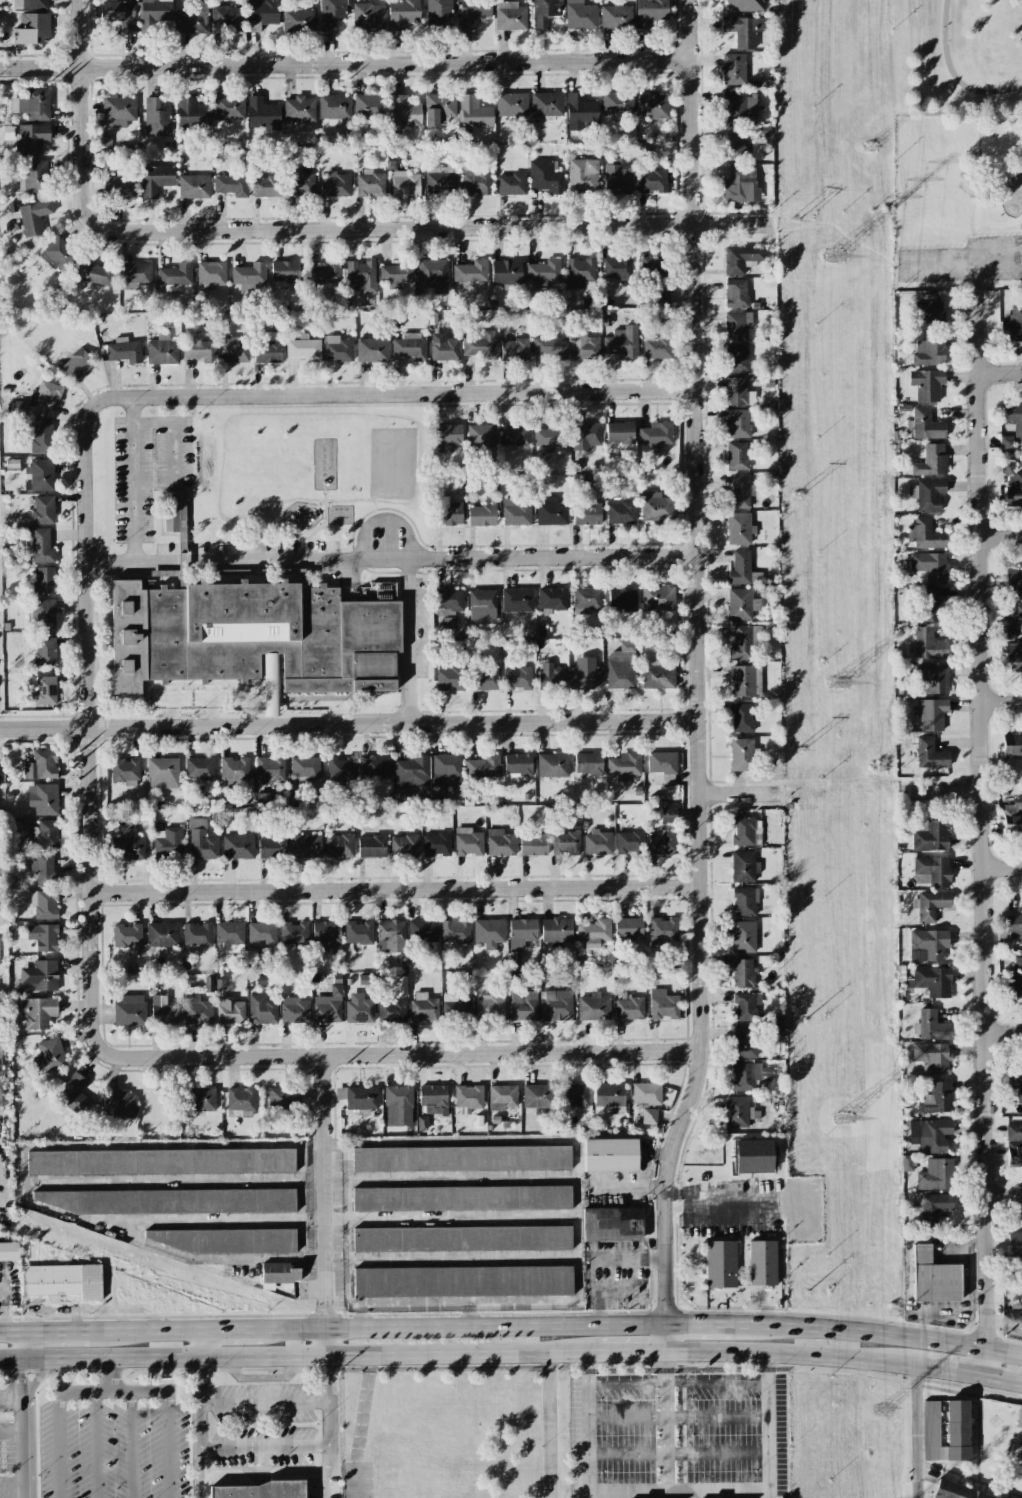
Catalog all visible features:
building: (30, 4)
building: (743, 5)
building: (439, 10)
building: (473, 12)
building: (545, 12)
building: (650, 12)
building: (153, 13)
building: (262, 13)
building: (331, 13)
building: (120, 14)
building: (403, 14)
building: (580, 15)
building: (368, 16)
building: (510, 16)
building: (616, 17)
building: (192, 19)
building: (227, 19)
building: (298, 20)
building: (32, 29)
building: (743, 30)
road: (77, 34)
park: (957, 57)
road: (345, 65)
building: (733, 69)
road: (950, 76)
building: (617, 103)
building: (511, 104)
building: (547, 104)
building: (33, 105)
building: (652, 105)
building: (229, 107)
building: (368, 107)
building: (739, 107)
building: (334, 108)
building: (439, 108)
building: (299, 110)
building: (118, 111)
building: (403, 112)
building: (580, 112)
building: (193, 113)
building: (474, 113)
building: (263, 114)
building: (156, 117)
building: (32, 139)
building: (734, 145)
power tower: (868, 146)
building: (35, 176)
building: (546, 176)
building: (583, 176)
building: (156, 179)
building: (440, 180)
building: (617, 180)
building: (475, 181)
building: (652, 181)
building: (299, 183)
building: (405, 183)
building: (335, 184)
building: (370, 184)
building: (511, 184)
building: (231, 185)
building: (741, 185)
building: (193, 186)
building: (266, 186)
building: (119, 188)
park: (958, 202)
building: (33, 217)
power tower: (792, 218)
road: (353, 229)
building: (59, 254)
power tower: (832, 256)
road: (1019, 257)
building: (741, 259)
road: (957, 260)
building: (649, 265)
building: (617, 267)
building: (284, 271)
building: (470, 271)
building: (506, 272)
building: (136, 273)
building: (211, 273)
building: (325, 273)
building: (397, 273)
building: (579, 273)
building: (96, 274)
building: (175, 274)
building: (249, 274)
building: (542, 274)
road: (975, 275)
building: (360, 276)
building: (432, 276)
building: (736, 293)
building: (661, 294)
building: (926, 315)
building: (1012, 324)
building: (737, 325)
building: (622, 342)
building: (410, 346)
building: (481, 346)
building: (550, 346)
building: (584, 346)
building: (444, 347)
building: (657, 348)
building: (304, 349)
building: (337, 349)
building: (514, 349)
building: (124, 350)
building: (162, 350)
building: (200, 350)
building: (234, 350)
building: (372, 350)
building: (929, 350)
building: (737, 358)
building: (77, 364)
road: (1000, 371)
building: (926, 384)
building: (738, 392)
road: (388, 394)
building: (47, 397)
building: (1014, 417)
building: (737, 423)
building: (926, 425)
building: (620, 432)
building: (514, 434)
building: (655, 434)
building: (481, 435)
building: (585, 435)
building: (448, 437)
building: (549, 437)
building: (41, 438)
building: (1005, 442)
road: (173, 451)
building: (737, 455)
building: (931, 460)
building: (12, 465)
building: (1007, 467)
building: (39, 475)
road: (131, 479)
building: (1014, 490)
building: (739, 491)
building: (927, 494)
power tower: (797, 495)
building: (655, 507)
building: (43, 509)
building: (551, 512)
building: (621, 512)
building: (447, 513)
building: (516, 513)
building: (587, 513)
building: (174, 515)
building: (481, 515)
road: (387, 518)
building: (739, 529)
building: (925, 533)
road: (1001, 535)
building: (40, 546)
road: (390, 558)
building: (930, 566)
building: (743, 569)
building: (43, 580)
building: (587, 598)
building: (657, 598)
building: (517, 600)
building: (552, 600)
building: (622, 600)
building: (449, 601)
building: (741, 604)
building: (931, 604)
building: (482, 606)
building: (42, 614)
building: (252, 636)
road: (411, 640)
building: (743, 641)
building: (928, 644)
building: (44, 651)
building: (1013, 651)
building: (621, 666)
building: (585, 674)
building: (658, 674)
building: (448, 676)
building: (551, 677)
building: (932, 677)
building: (517, 678)
road: (698, 678)
building: (483, 679)
building: (745, 681)
power tower: (836, 683)
building: (43, 690)
road: (1002, 699)
building: (932, 714)
building: (741, 717)
road: (349, 723)
road: (89, 733)
power tower: (799, 747)
building: (1013, 748)
building: (741, 754)
building: (930, 754)
building: (661, 762)
building: (588, 763)
building: (41, 765)
building: (552, 765)
building: (624, 765)
power tower: (871, 765)
building: (375, 766)
building: (518, 766)
building: (304, 767)
building: (482, 768)
building: (446, 769)
building: (234, 770)
building: (269, 770)
building: (340, 770)
building: (124, 771)
building: (198, 771)
building: (411, 771)
building: (162, 773)
building: (668, 780)
road: (944, 790)
road: (739, 792)
building: (400, 796)
building: (262, 798)
building: (42, 799)
building: (668, 815)
building: (1012, 816)
building: (746, 830)
building: (47, 833)
road: (983, 834)
building: (930, 836)
building: (167, 841)
building: (201, 841)
building: (629, 841)
building: (468, 842)
building: (564, 842)
building: (597, 842)
building: (663, 842)
building: (0, 843)
building: (500, 843)
building: (436, 844)
building: (533, 844)
building: (131, 845)
building: (339, 845)
building: (404, 845)
building: (238, 846)
building: (305, 846)
building: (371, 846)
building: (271, 847)
building: (744, 867)
road: (1002, 868)
building: (43, 869)
building: (931, 871)
road: (395, 888)
building: (744, 901)
building: (44, 904)
building: (930, 905)
building: (1010, 925)
building: (628, 929)
building: (557, 930)
building: (423, 931)
building: (326, 932)
building: (358, 932)
building: (455, 932)
building: (489, 932)
building: (522, 932)
building: (594, 932)
building: (662, 932)
building: (261, 933)
building: (294, 933)
building: (162, 934)
building: (127, 935)
building: (230, 935)
building: (196, 936)
building: (390, 936)
building: (43, 937)
building: (743, 937)
building: (928, 944)
building: (515, 957)
building: (743, 973)
building: (45, 975)
building: (933, 981)
building: (208, 984)
building: (401, 986)
building: (523, 1005)
building: (557, 1005)
building: (663, 1005)
building: (745, 1006)
building: (423, 1007)
building: (594, 1007)
building: (359, 1008)
building: (489, 1008)
building: (629, 1008)
building: (261, 1009)
building: (326, 1009)
building: (456, 1009)
building: (130, 1010)
building: (197, 1010)
building: (229, 1010)
building: (294, 1010)
building: (391, 1010)
building: (163, 1011)
building: (37, 1012)
power tower: (805, 1020)
road: (1003, 1033)
building: (744, 1042)
road: (406, 1052)
building: (48, 1056)
building: (931, 1057)
building: (0, 1061)
building: (745, 1076)
building: (1019, 1090)
building: (74, 1092)
building: (646, 1093)
building: (574, 1095)
building: (468, 1096)
building: (537, 1096)
building: (361, 1097)
building: (502, 1097)
building: (283, 1098)
building: (609, 1098)
building: (936, 1098)
building: (203, 1099)
building: (433, 1099)
building: (119, 1104)
building: (398, 1105)
building: (739, 1112)
building: (649, 1116)
power tower: (843, 1119)
building: (422, 1123)
building: (929, 1135)
road: (297, 1142)
building: (1014, 1145)
building: (610, 1155)
building: (753, 1156)
building: (461, 1158)
building: (160, 1161)
road: (19, 1173)
building: (936, 1175)
road: (299, 1179)
road: (632, 1185)
road: (712, 1191)
building: (461, 1198)
road: (1004, 1200)
building: (163, 1201)
road: (326, 1205)
building: (934, 1207)
road: (723, 1218)
road: (331, 1219)
road: (350, 1222)
building: (611, 1224)
road: (106, 1230)
building: (462, 1238)
building: (219, 1240)
building: (1015, 1246)
building: (9, 1251)
road: (386, 1258)
road: (601, 1258)
building: (761, 1263)
building: (721, 1264)
building: (281, 1273)
building: (933, 1278)
building: (62, 1281)
building: (462, 1281)
power tower: (807, 1293)
road: (545, 1299)
road: (702, 1322)
road: (466, 1323)
road: (230, 1327)
road: (143, 1329)
road: (56, 1332)
road: (11, 1333)
road: (879, 1333)
road: (22, 1347)
road: (634, 1351)
road: (794, 1354)
road: (300, 1357)
road: (952, 1372)
road: (112, 1375)
road: (261, 1378)
road: (1002, 1382)
road: (678, 1383)
road: (113, 1391)
road: (11, 1395)
road: (264, 1401)
road: (330, 1402)
power tower: (885, 1407)
road: (199, 1412)
road: (678, 1416)
building: (1019, 1418)
building: (957, 1423)
road: (767, 1424)
road: (550, 1425)
road: (589, 1425)
road: (360, 1426)
road: (23, 1428)
road: (863, 1428)
road: (916, 1432)
road: (96, 1444)
road: (132, 1444)
road: (267, 1449)
road: (678, 1452)
road: (336, 1473)
flagpole: (269, 1474)
road: (12, 1483)
building: (263, 1492)
road: (679, 1492)
building: (953, 1492)

